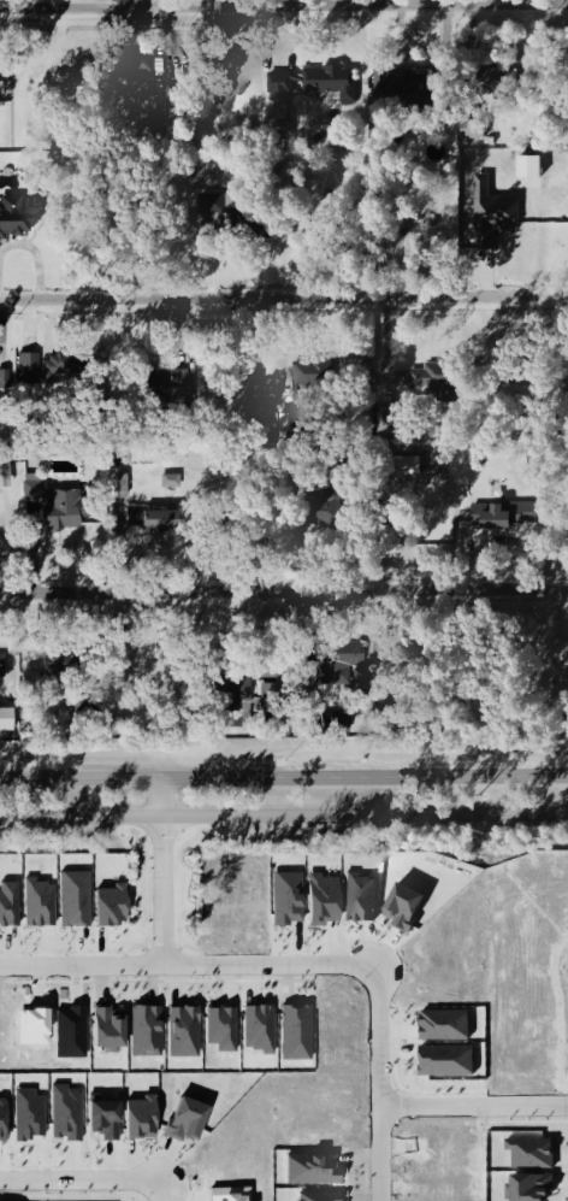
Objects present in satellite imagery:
road: (284, 6)
building: (152, 65)
building: (318, 81)
building: (421, 87)
building: (2, 90)
building: (178, 96)
building: (211, 201)
building: (19, 211)
building: (499, 218)
building: (253, 220)
road: (20, 243)
road: (214, 266)
road: (283, 299)
building: (67, 359)
building: (30, 365)
building: (526, 369)
building: (312, 372)
building: (439, 377)
building: (164, 379)
building: (261, 412)
building: (395, 422)
building: (300, 423)
building: (475, 454)
building: (347, 461)
building: (403, 464)
building: (35, 488)
building: (63, 507)
building: (324, 507)
building: (504, 511)
building: (155, 516)
road: (283, 589)
building: (2, 663)
road: (283, 777)
road: (284, 820)
road: (167, 872)
building: (294, 895)
building: (81, 896)
building: (366, 896)
building: (331, 897)
building: (45, 901)
building: (12, 902)
building: (119, 902)
building: (410, 903)
road: (189, 967)
building: (450, 1024)
building: (226, 1026)
building: (262, 1026)
building: (116, 1029)
building: (152, 1029)
building: (189, 1030)
building: (302, 1030)
building: (452, 1059)
road: (383, 1083)
road: (475, 1105)
building: (35, 1113)
building: (148, 1114)
building: (7, 1117)
building: (194, 1117)
building: (318, 1167)
road: (83, 1178)
road: (164, 1195)
building: (323, 1195)

